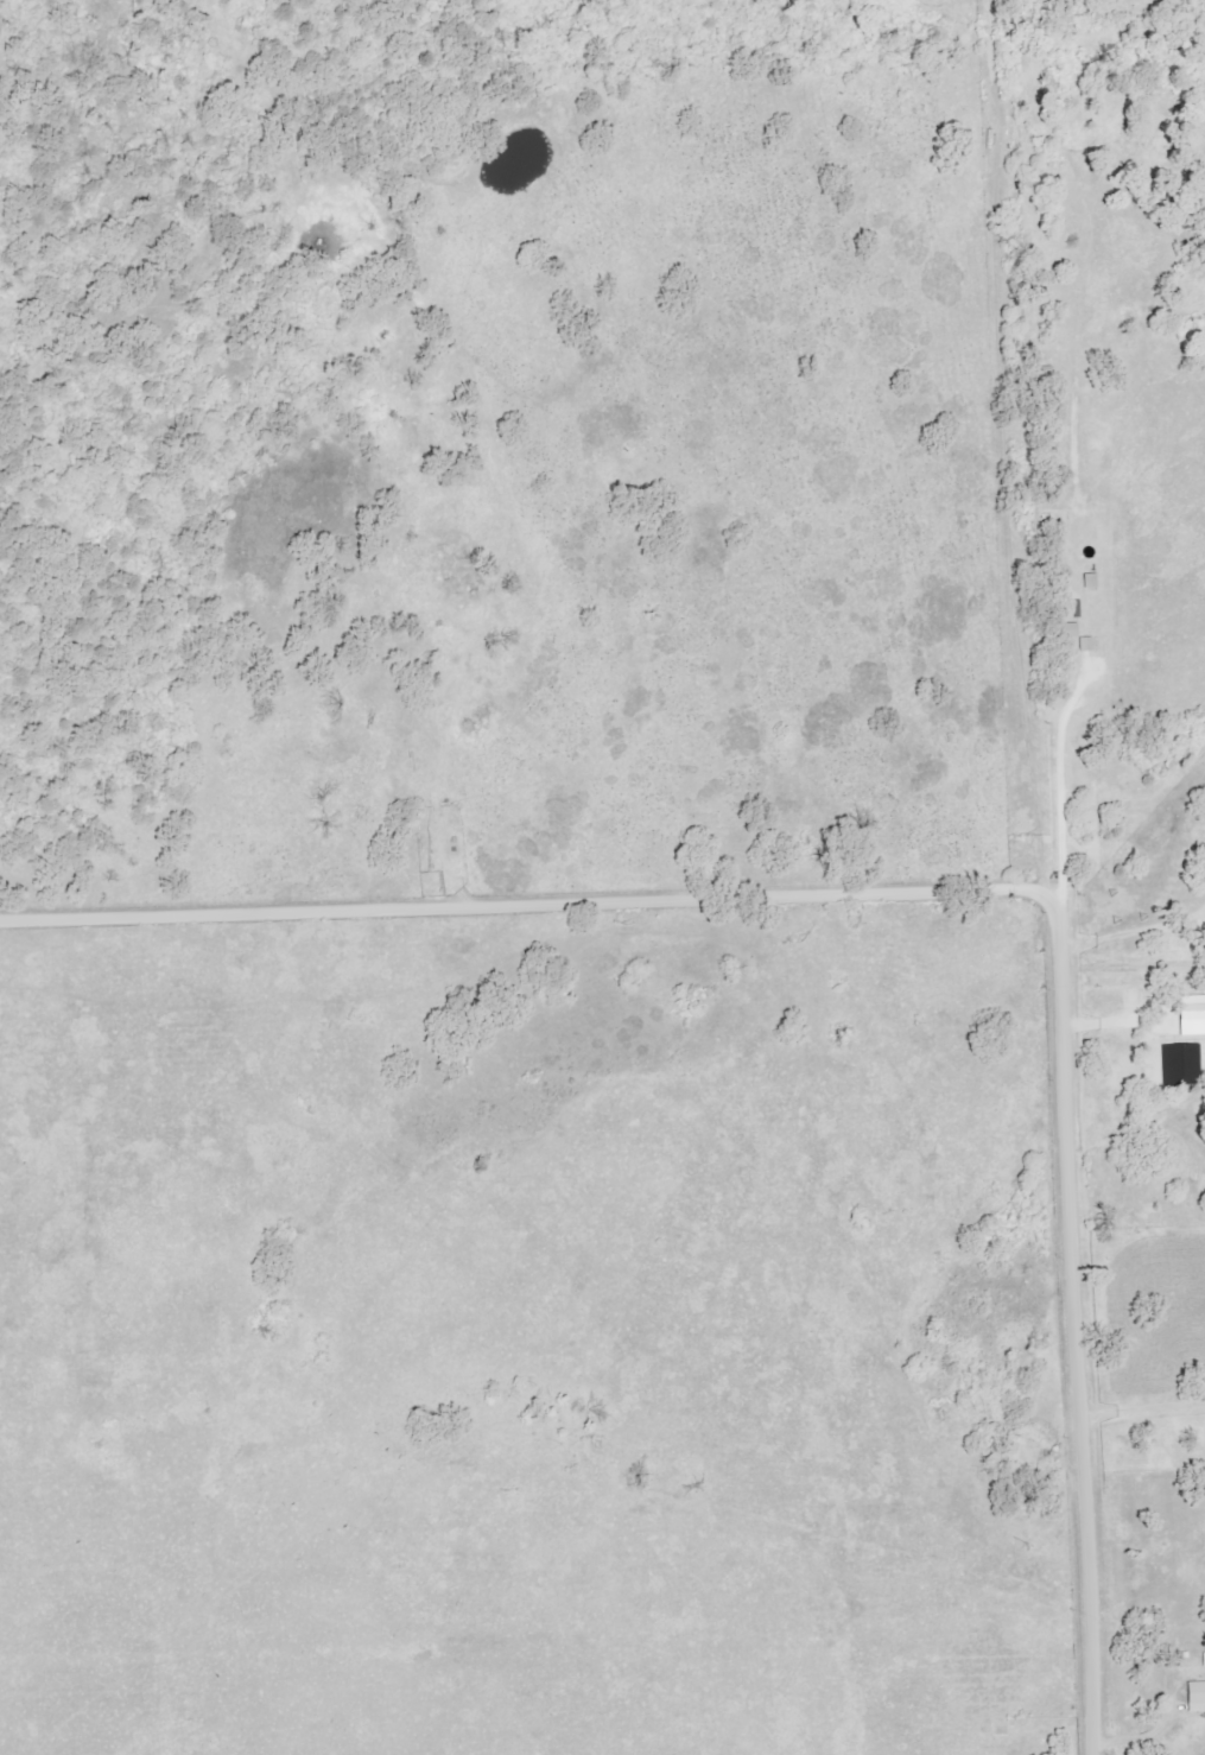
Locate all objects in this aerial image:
road: (1008, 527)
road: (1057, 778)
road: (956, 891)
road: (1130, 932)
building: (1194, 1014)
road: (1115, 1024)
building: (1185, 1063)
road: (1141, 1392)
building: (1198, 1697)

